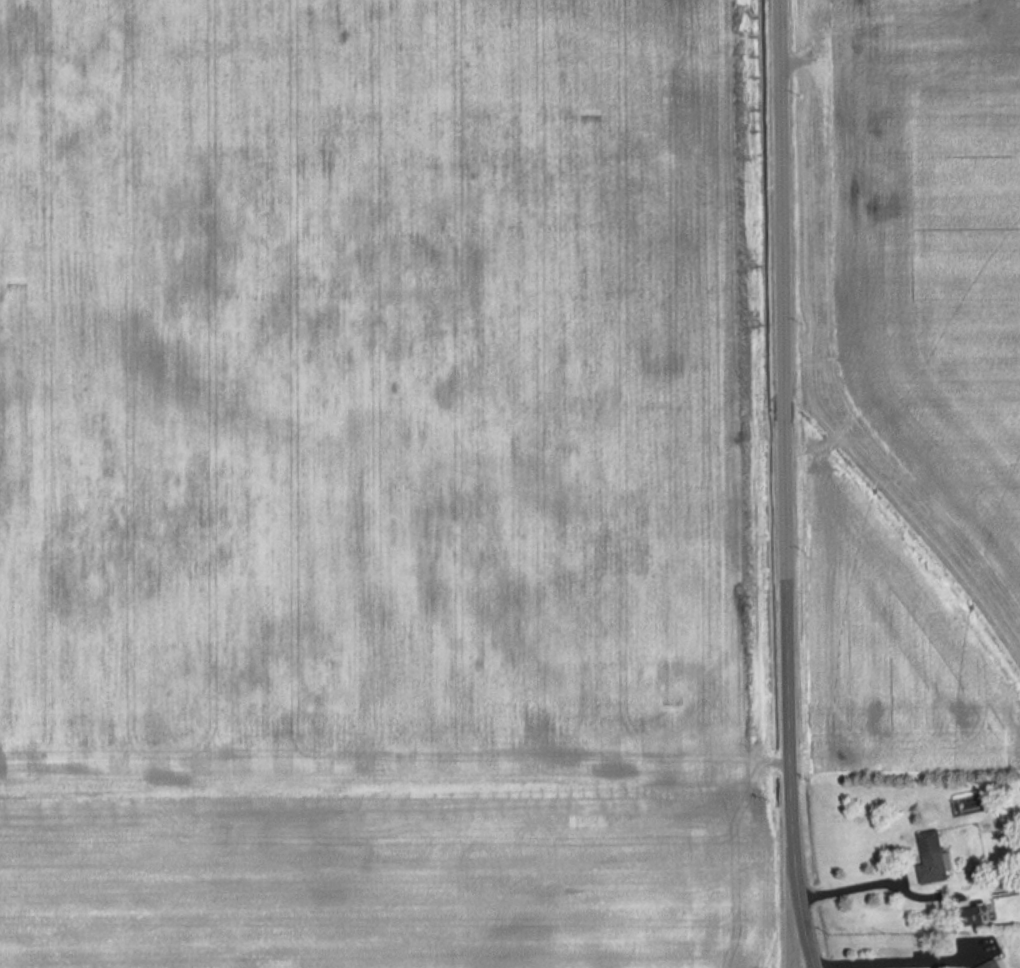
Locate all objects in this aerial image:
road: (784, 485)
building: (930, 858)
road: (851, 883)
building: (972, 914)
road: (793, 918)
road: (897, 959)
building: (990, 964)

